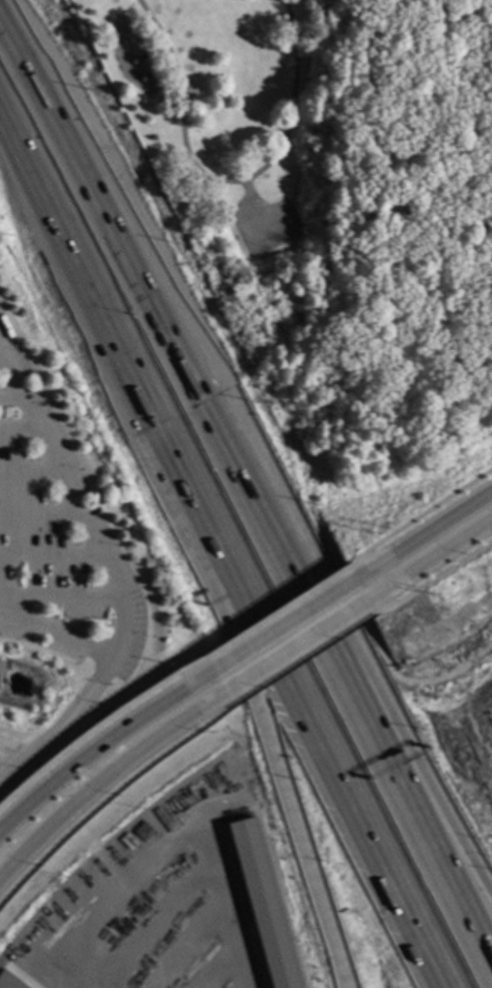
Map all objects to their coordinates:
road: (15, 178)
road: (228, 181)
park: (245, 184)
road: (328, 257)
road: (9, 398)
road: (17, 427)
road: (28, 469)
road: (75, 509)
road: (38, 510)
road: (418, 516)
road: (423, 536)
parking lot: (56, 539)
road: (228, 540)
road: (50, 553)
road: (428, 558)
road: (356, 569)
road: (432, 576)
road: (207, 589)
road: (59, 596)
road: (228, 598)
road: (321, 605)
road: (276, 612)
road: (283, 625)
road: (57, 630)
road: (375, 644)
road: (293, 645)
road: (299, 658)
road: (97, 724)
road: (61, 725)
road: (101, 744)
road: (104, 776)
road: (107, 796)
building: (259, 904)
building: (6, 982)

